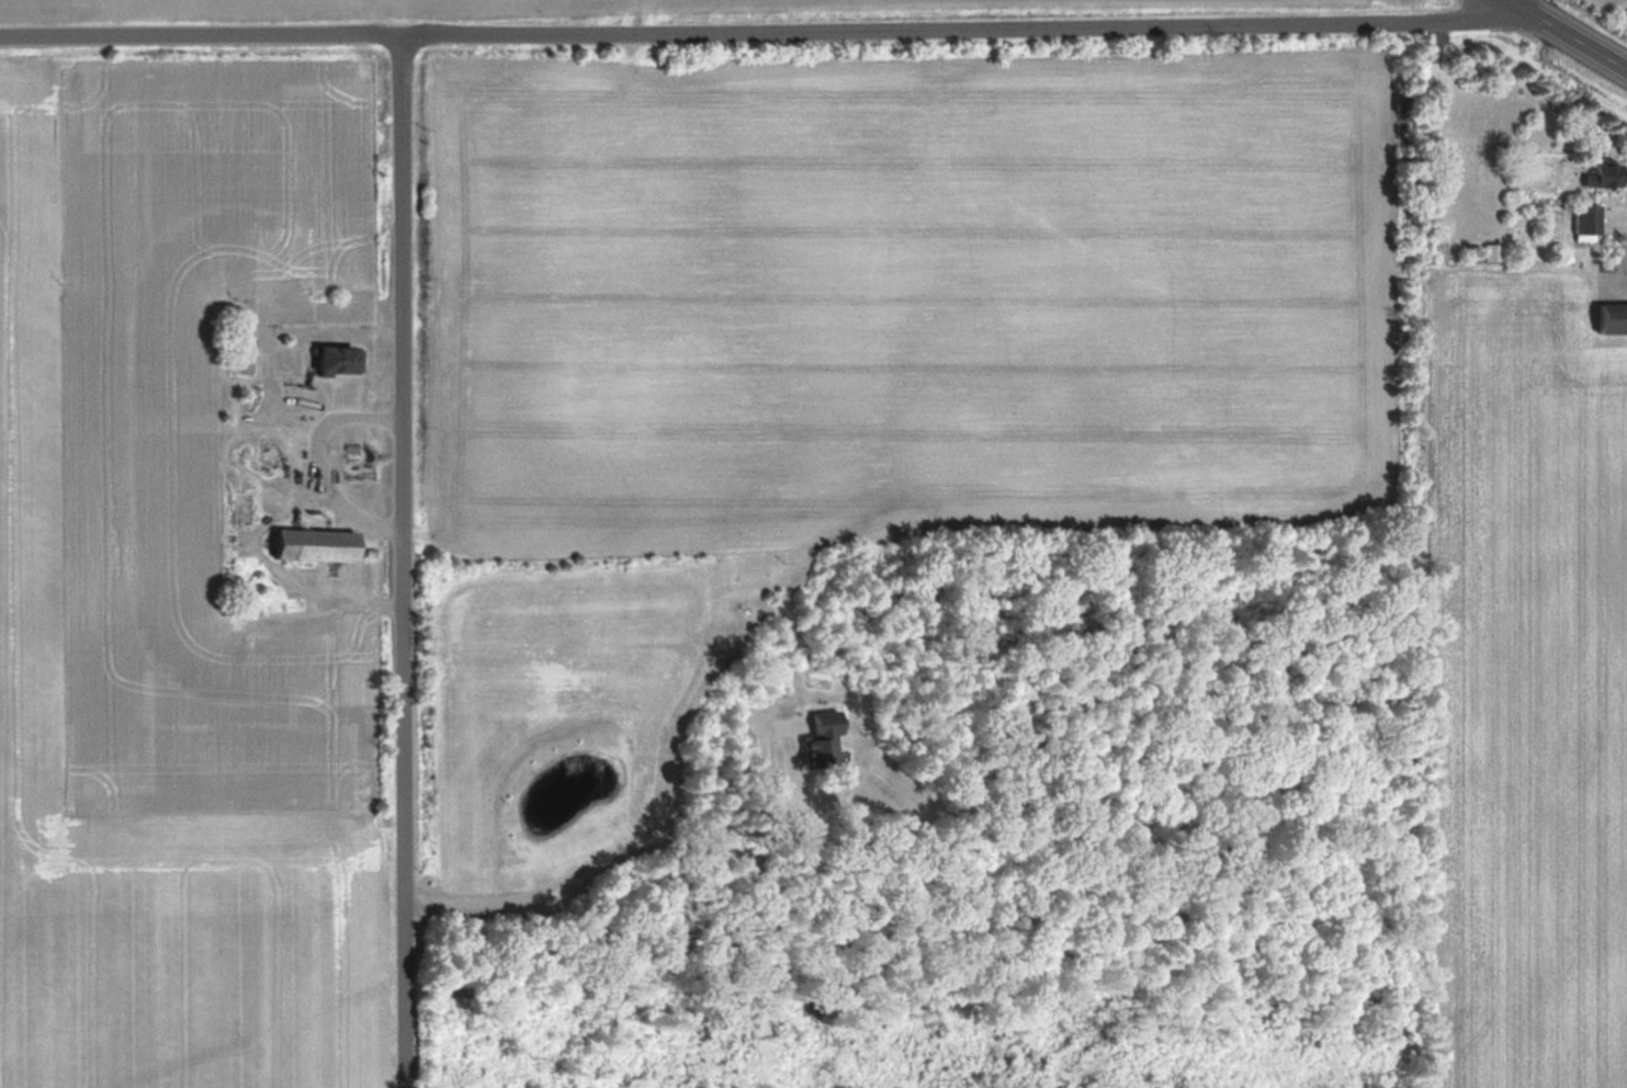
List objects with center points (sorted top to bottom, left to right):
road: (1523, 7)
road: (762, 36)
road: (1563, 36)
road: (1615, 216)
building: (1588, 219)
building: (1492, 249)
building: (1612, 316)
building: (340, 359)
building: (269, 452)
building: (360, 472)
building: (242, 507)
building: (319, 544)
road: (406, 565)
building: (823, 740)
road: (637, 839)

